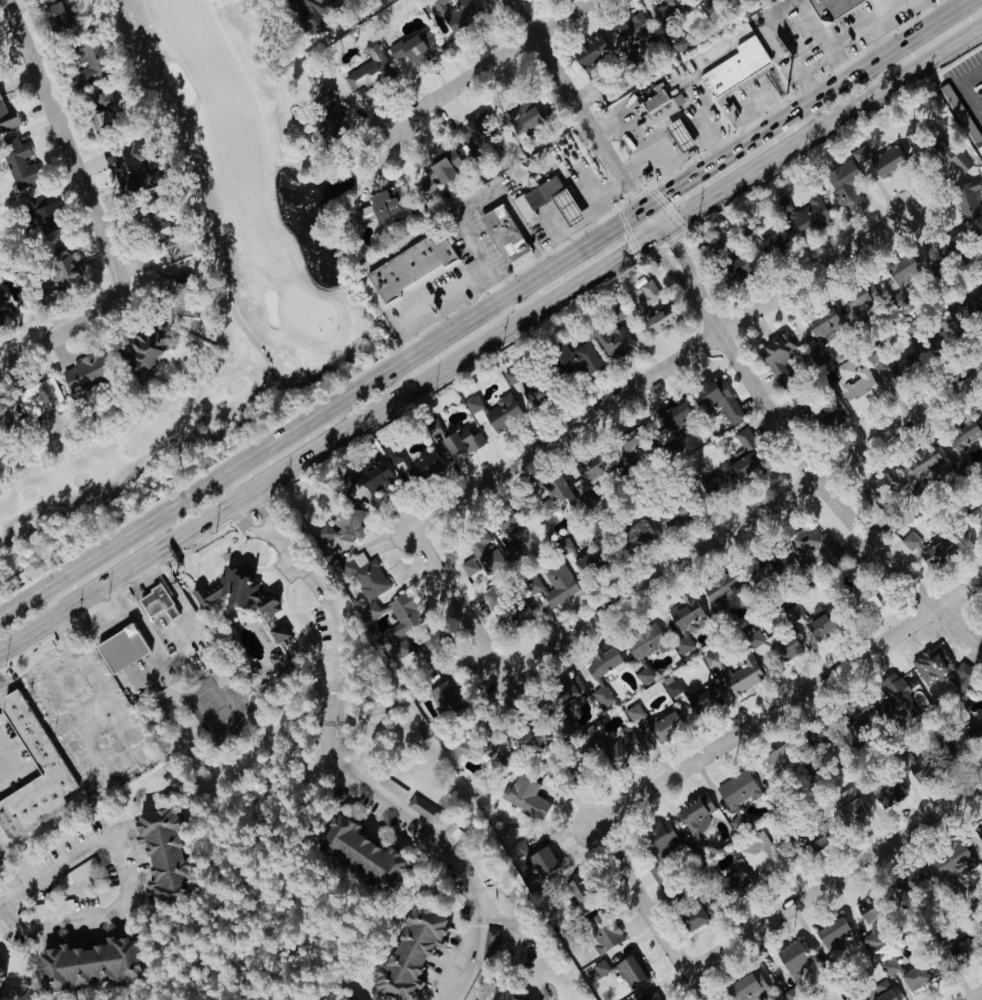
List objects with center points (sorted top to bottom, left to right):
building: (438, 4)
building: (667, 10)
building: (831, 10)
building: (308, 11)
building: (52, 16)
building: (459, 16)
road: (813, 26)
building: (631, 30)
road: (855, 32)
road: (927, 44)
road: (783, 46)
building: (407, 51)
building: (589, 52)
road: (878, 58)
road: (489, 62)
building: (89, 64)
building: (736, 66)
building: (368, 70)
road: (964, 91)
road: (575, 96)
building: (660, 104)
building: (101, 109)
road: (760, 110)
building: (325, 116)
building: (527, 118)
building: (8, 120)
road: (666, 122)
road: (823, 125)
building: (473, 130)
building: (681, 136)
gas station: (681, 136)
building: (980, 154)
building: (858, 155)
road: (719, 159)
road: (659, 161)
road: (638, 163)
building: (955, 165)
building: (19, 166)
building: (882, 166)
building: (125, 167)
building: (437, 170)
building: (842, 185)
traffic signals: (632, 186)
road: (509, 189)
building: (539, 193)
traffic signals: (663, 194)
road: (583, 198)
road: (644, 198)
building: (968, 200)
road: (637, 202)
building: (569, 204)
road: (570, 206)
building: (382, 208)
road: (94, 210)
building: (41, 215)
building: (808, 216)
building: (153, 229)
road: (551, 229)
building: (508, 231)
road: (674, 239)
traffic signals: (674, 239)
building: (771, 245)
traffic signals: (632, 246)
road: (660, 247)
road: (603, 263)
building: (413, 265)
building: (899, 270)
building: (734, 271)
building: (58, 274)
road: (454, 289)
building: (167, 293)
building: (645, 294)
building: (859, 297)
building: (1, 303)
park: (299, 308)
building: (968, 310)
building: (657, 320)
building: (819, 324)
road: (402, 326)
building: (941, 336)
building: (612, 342)
road: (447, 348)
building: (141, 353)
building: (776, 356)
building: (575, 360)
road: (660, 368)
building: (897, 369)
building: (84, 372)
road: (411, 386)
building: (856, 389)
building: (36, 399)
building: (714, 400)
road: (325, 408)
building: (494, 411)
building: (671, 415)
building: (2, 418)
building: (827, 419)
building: (459, 441)
building: (959, 441)
road: (286, 449)
building: (744, 454)
building: (921, 462)
building: (407, 463)
building: (591, 468)
road: (815, 476)
building: (366, 477)
building: (717, 482)
building: (880, 484)
building: (555, 489)
road: (268, 508)
building: (544, 508)
building: (671, 517)
building: (973, 520)
road: (742, 523)
road: (247, 528)
building: (340, 530)
building: (633, 532)
building: (810, 547)
building: (926, 549)
building: (482, 551)
building: (582, 559)
road: (139, 560)
road: (109, 562)
building: (764, 565)
building: (467, 566)
building: (367, 577)
building: (715, 590)
building: (234, 592)
building: (858, 600)
road: (457, 601)
building: (154, 602)
building: (513, 615)
road: (331, 619)
building: (682, 621)
building: (819, 626)
building: (276, 632)
building: (427, 642)
building: (119, 648)
building: (783, 649)
building: (639, 650)
building: (708, 659)
building: (941, 669)
building: (598, 673)
building: (740, 674)
building: (671, 688)
building: (564, 690)
building: (979, 690)
building: (442, 698)
building: (895, 698)
building: (702, 700)
road: (787, 700)
building: (861, 713)
building: (653, 723)
building: (980, 729)
building: (960, 740)
building: (33, 743)
building: (473, 745)
building: (619, 748)
road: (140, 755)
building: (774, 759)
road: (16, 762)
building: (915, 769)
building: (885, 793)
building: (735, 796)
building: (523, 797)
building: (846, 808)
building: (418, 814)
building: (694, 817)
building: (978, 836)
building: (660, 837)
building: (810, 840)
road: (447, 843)
building: (157, 853)
building: (362, 853)
building: (757, 854)
building: (947, 861)
building: (538, 862)
building: (474, 865)
road: (136, 870)
road: (835, 877)
building: (907, 880)
building: (732, 885)
road: (650, 911)
building: (690, 917)
building: (829, 934)
building: (603, 936)
building: (408, 953)
building: (790, 960)
building: (83, 964)
building: (888, 967)
building: (599, 968)
building: (628, 972)
building: (0, 974)
building: (912, 977)
building: (746, 987)
building: (877, 992)
building: (334, 995)
building: (498, 996)
road: (976, 996)

